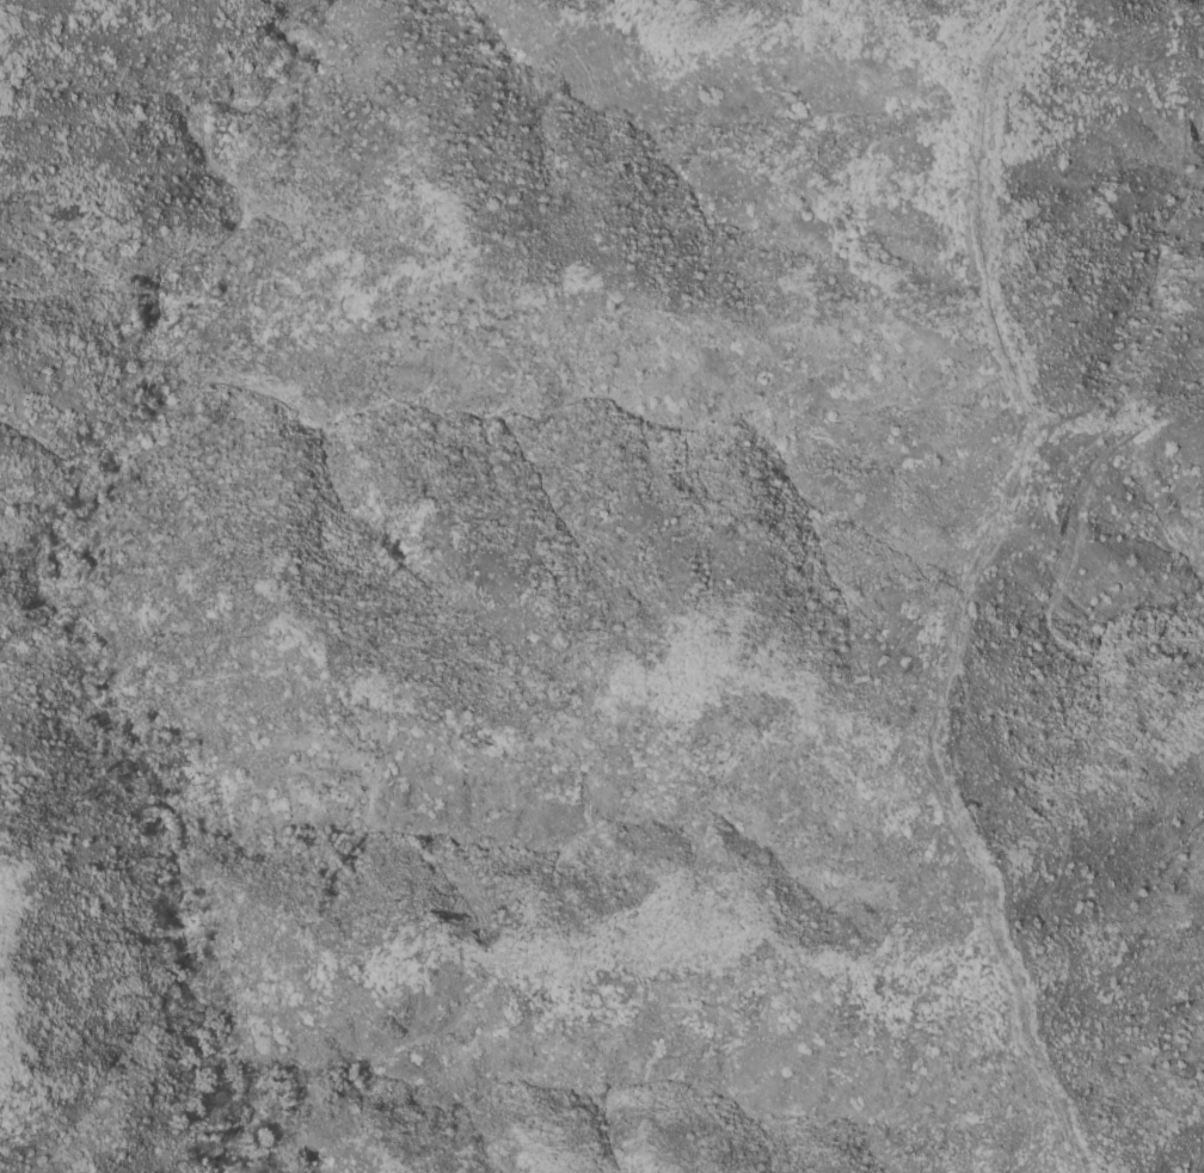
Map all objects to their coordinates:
road: (983, 269)
road: (983, 564)
road: (978, 855)

